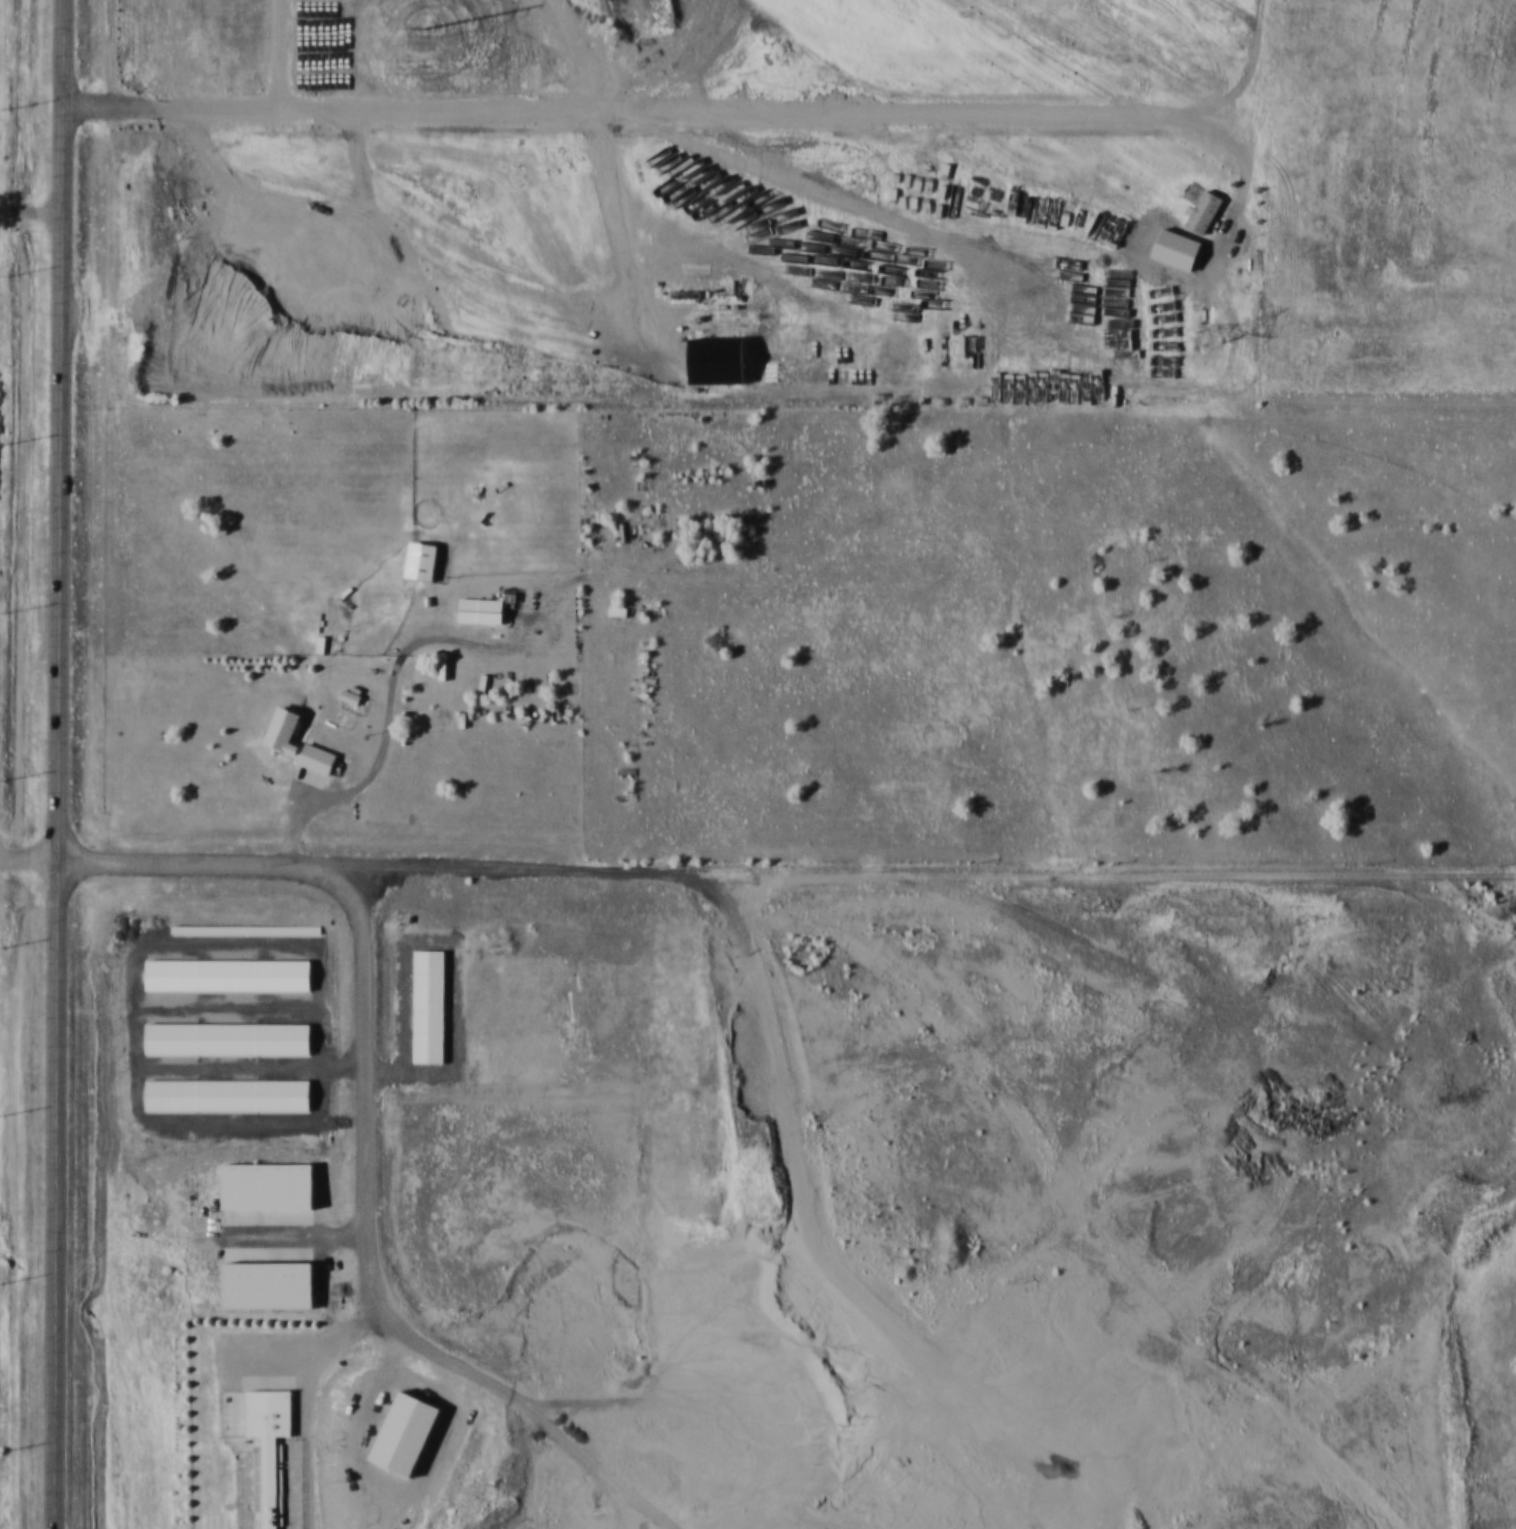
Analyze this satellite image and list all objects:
power tower: (398, 13)
road: (30, 214)
building: (407, 254)
road: (237, 313)
building: (516, 321)
power tower: (1207, 331)
building: (396, 354)
building: (549, 377)
building: (426, 564)
building: (483, 610)
building: (619, 610)
building: (287, 730)
building: (319, 759)
road: (55, 764)
road: (27, 858)
road: (381, 870)
road: (1112, 874)
building: (230, 1095)
building: (271, 1449)

